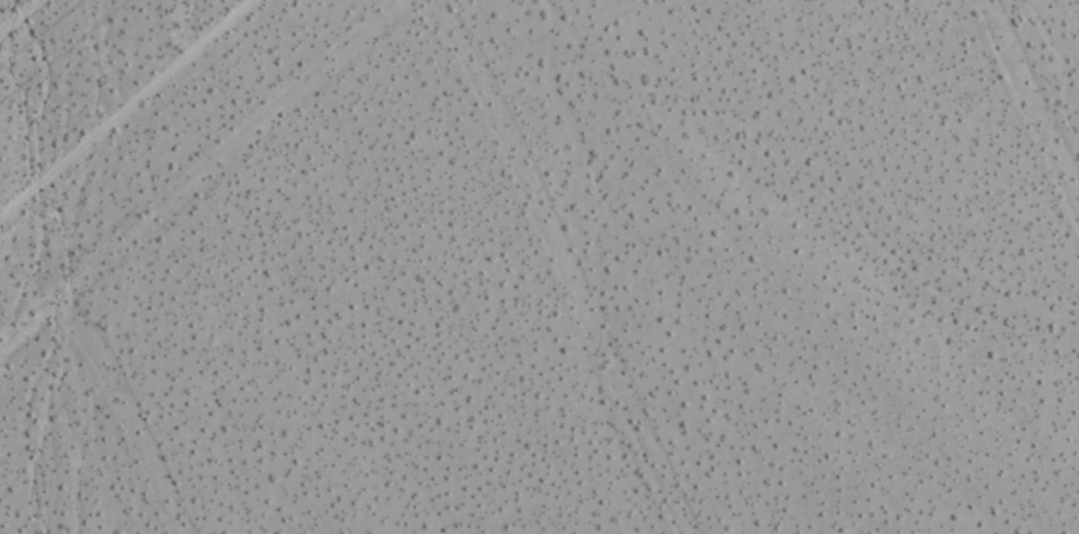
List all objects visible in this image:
road: (127, 110)

